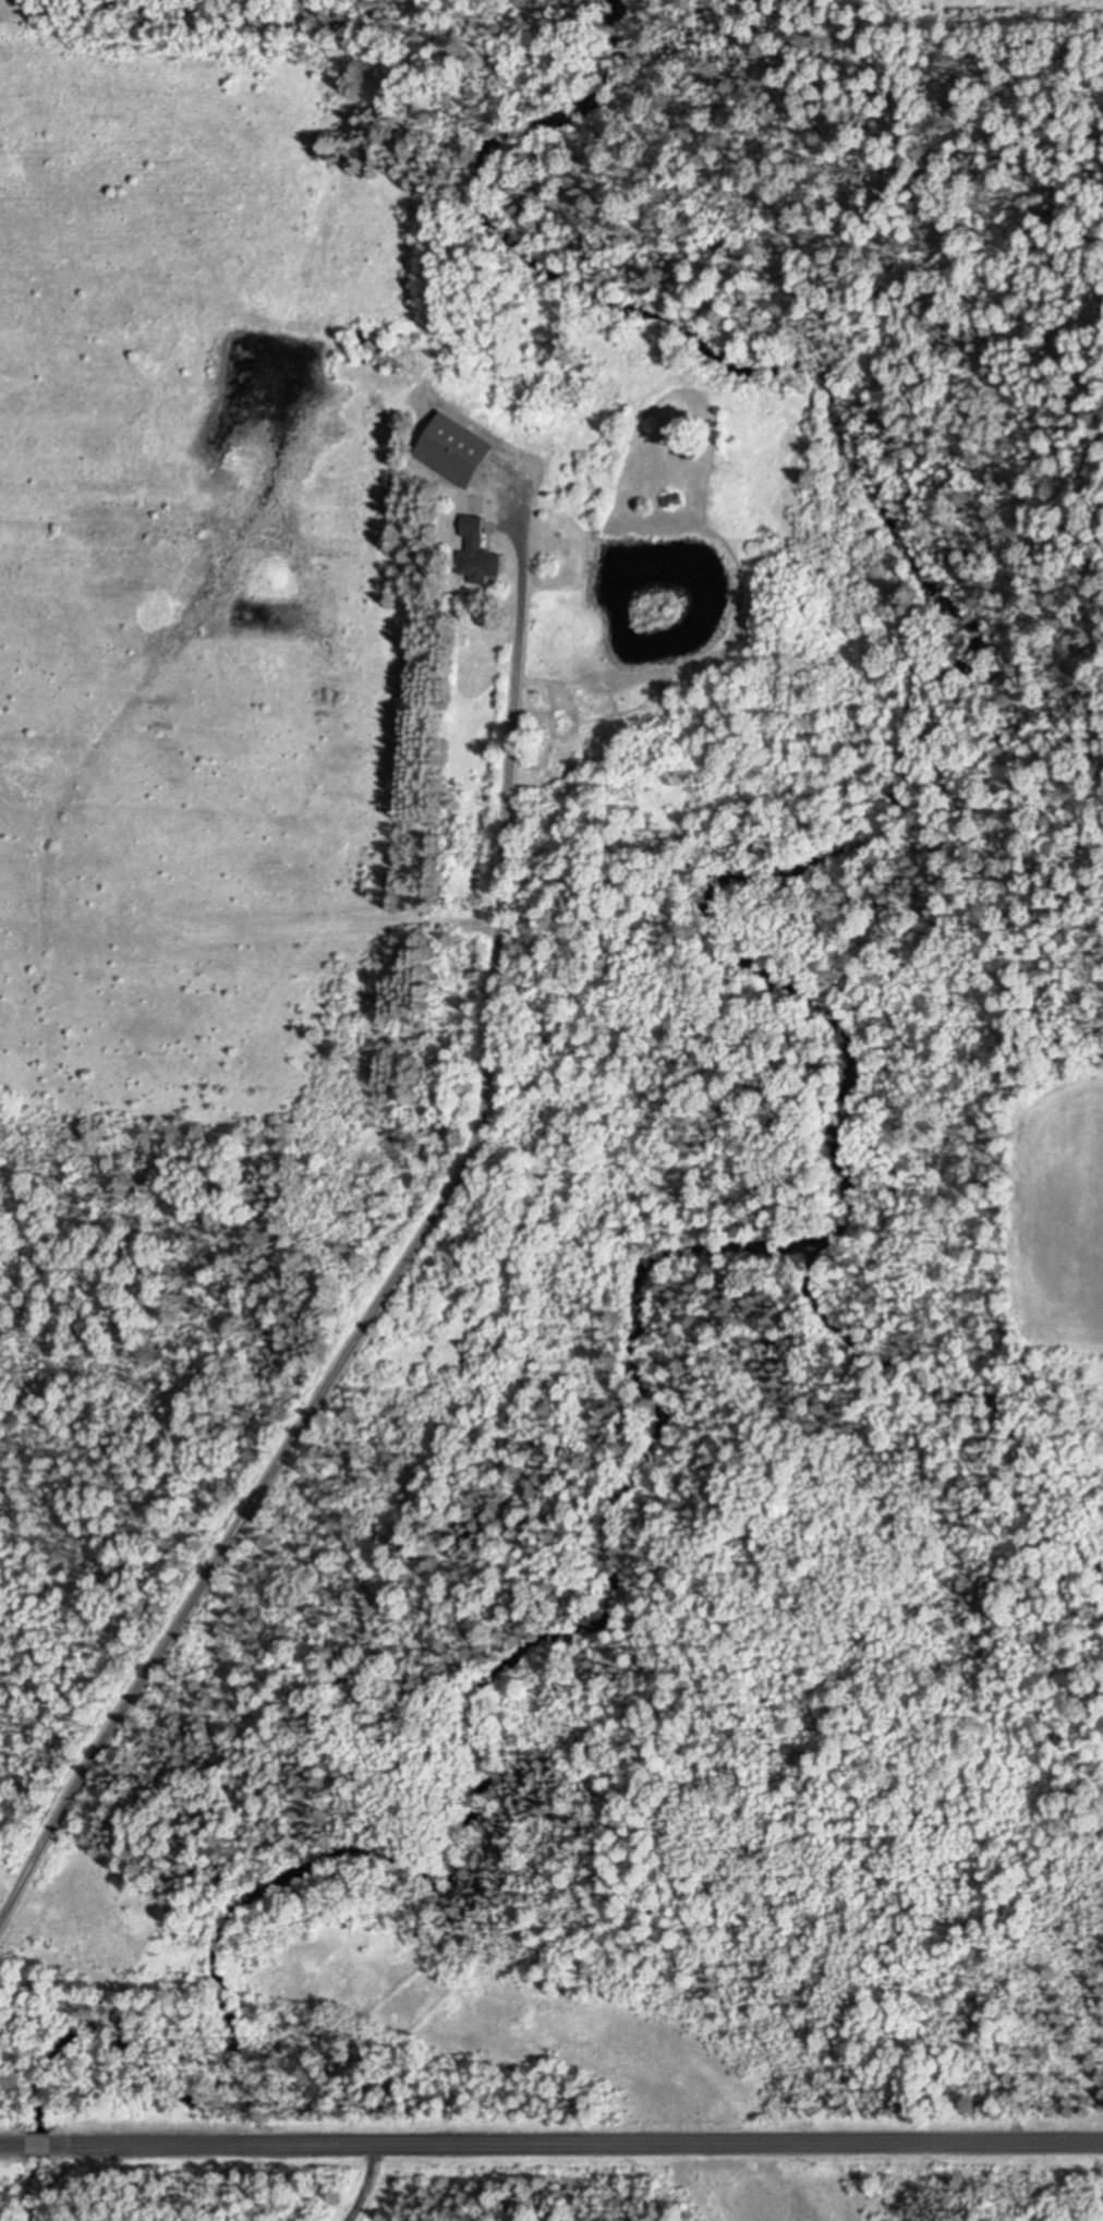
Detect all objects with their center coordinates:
building: (378, 348)
building: (457, 449)
building: (675, 498)
building: (478, 551)
river: (866, 1123)
road: (413, 1251)
road: (11, 2144)
road: (40, 2145)
road: (581, 2146)
road: (367, 2184)

